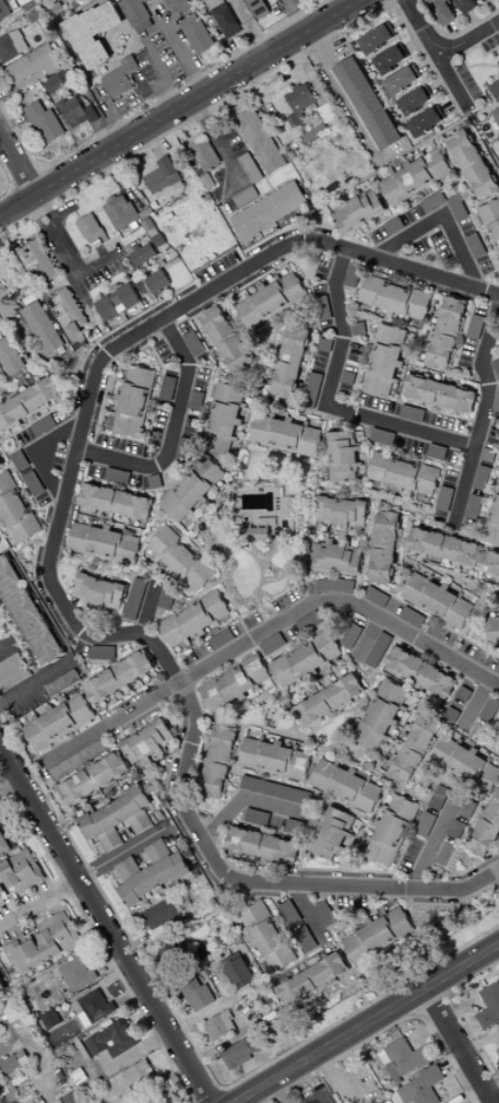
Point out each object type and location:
building: (483, 0)
road: (346, 3)
building: (176, 5)
building: (465, 5)
building: (257, 8)
building: (3, 12)
building: (442, 12)
building: (135, 15)
building: (223, 17)
building: (92, 33)
building: (197, 34)
building: (377, 39)
road: (470, 39)
building: (11, 46)
road: (438, 54)
road: (185, 57)
building: (391, 60)
building: (32, 66)
road: (164, 75)
building: (120, 79)
building: (401, 81)
building: (58, 82)
road: (338, 92)
road: (198, 96)
building: (414, 102)
building: (367, 104)
building: (298, 105)
building: (498, 107)
building: (75, 113)
building: (426, 121)
building: (44, 122)
building: (260, 142)
building: (204, 154)
road: (19, 163)
building: (472, 165)
building: (162, 177)
building: (415, 178)
building: (432, 202)
road: (19, 204)
building: (456, 208)
building: (269, 211)
building: (120, 212)
building: (357, 212)
road: (443, 220)
building: (90, 230)
road: (59, 233)
building: (475, 246)
building: (142, 255)
building: (43, 260)
building: (352, 275)
building: (156, 282)
building: (394, 298)
building: (271, 301)
building: (117, 303)
building: (322, 308)
building: (73, 317)
building: (41, 328)
building: (475, 328)
building: (445, 335)
building: (226, 340)
building: (193, 343)
building: (10, 360)
building: (384, 360)
building: (289, 363)
building: (167, 388)
building: (311, 390)
building: (438, 395)
building: (195, 400)
building: (132, 402)
building: (28, 403)
road: (332, 403)
building: (496, 403)
building: (223, 420)
road: (482, 423)
building: (43, 426)
road: (175, 432)
building: (284, 436)
building: (381, 437)
road: (38, 451)
building: (344, 458)
building: (1, 465)
building: (403, 474)
building: (480, 479)
building: (191, 491)
building: (443, 500)
building: (115, 502)
building: (473, 506)
building: (15, 511)
building: (341, 514)
building: (254, 536)
building: (103, 544)
building: (384, 548)
building: (444, 548)
building: (180, 559)
building: (334, 559)
building: (491, 565)
road: (57, 584)
building: (334, 586)
building: (151, 588)
building: (98, 592)
building: (376, 597)
building: (134, 600)
building: (436, 600)
building: (26, 614)
building: (411, 618)
building: (193, 621)
road: (265, 632)
building: (491, 632)
building: (351, 636)
building: (271, 644)
building: (378, 650)
building: (102, 653)
building: (305, 661)
building: (12, 672)
building: (419, 673)
building: (118, 678)
building: (233, 684)
building: (462, 695)
building: (328, 702)
building: (489, 709)
building: (380, 715)
building: (58, 723)
building: (146, 742)
building: (413, 751)
building: (273, 759)
building: (78, 760)
building: (218, 762)
building: (464, 764)
building: (92, 779)
building: (344, 786)
building: (274, 790)
building: (438, 798)
road: (246, 799)
building: (466, 809)
building: (257, 818)
building: (116, 819)
building: (425, 825)
building: (293, 829)
building: (389, 831)
building: (331, 835)
road: (433, 844)
building: (449, 844)
building: (2, 846)
building: (262, 846)
road: (122, 854)
building: (19, 873)
building: (151, 875)
building: (289, 913)
building: (324, 914)
building: (159, 918)
road: (106, 922)
building: (378, 935)
building: (266, 938)
building: (304, 940)
building: (41, 944)
building: (202, 951)
road: (462, 965)
building: (239, 974)
building: (76, 975)
building: (312, 981)
building: (195, 995)
building: (9, 1008)
building: (488, 1008)
building: (92, 1009)
building: (50, 1020)
building: (219, 1026)
building: (111, 1040)
road: (330, 1045)
road: (460, 1045)
building: (498, 1048)
building: (240, 1053)
building: (404, 1059)
building: (10, 1065)
building: (139, 1076)
building: (420, 1088)
road: (278, 1092)
road: (316, 1095)
building: (155, 1096)
building: (70, 1099)
building: (385, 1102)

